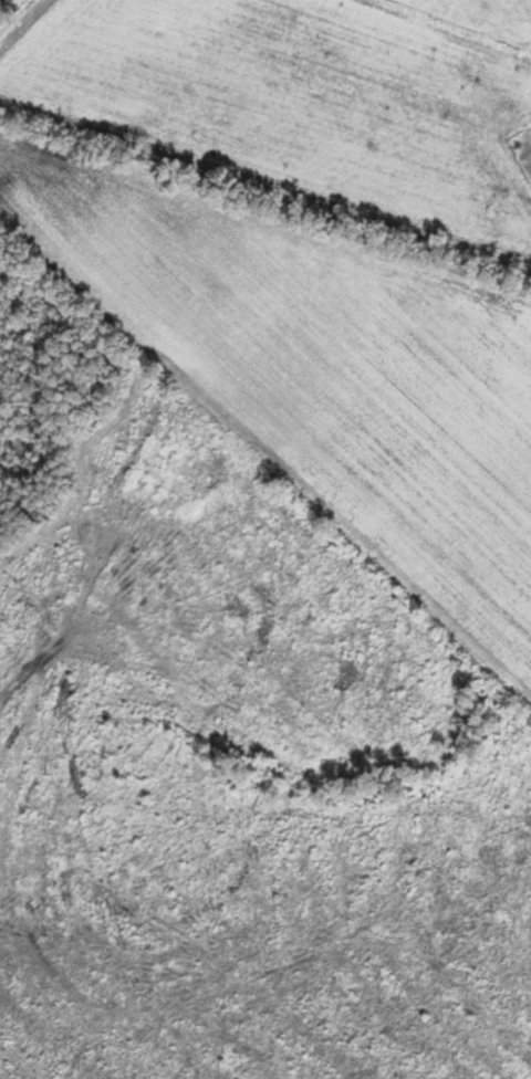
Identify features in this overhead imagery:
road: (84, 474)

